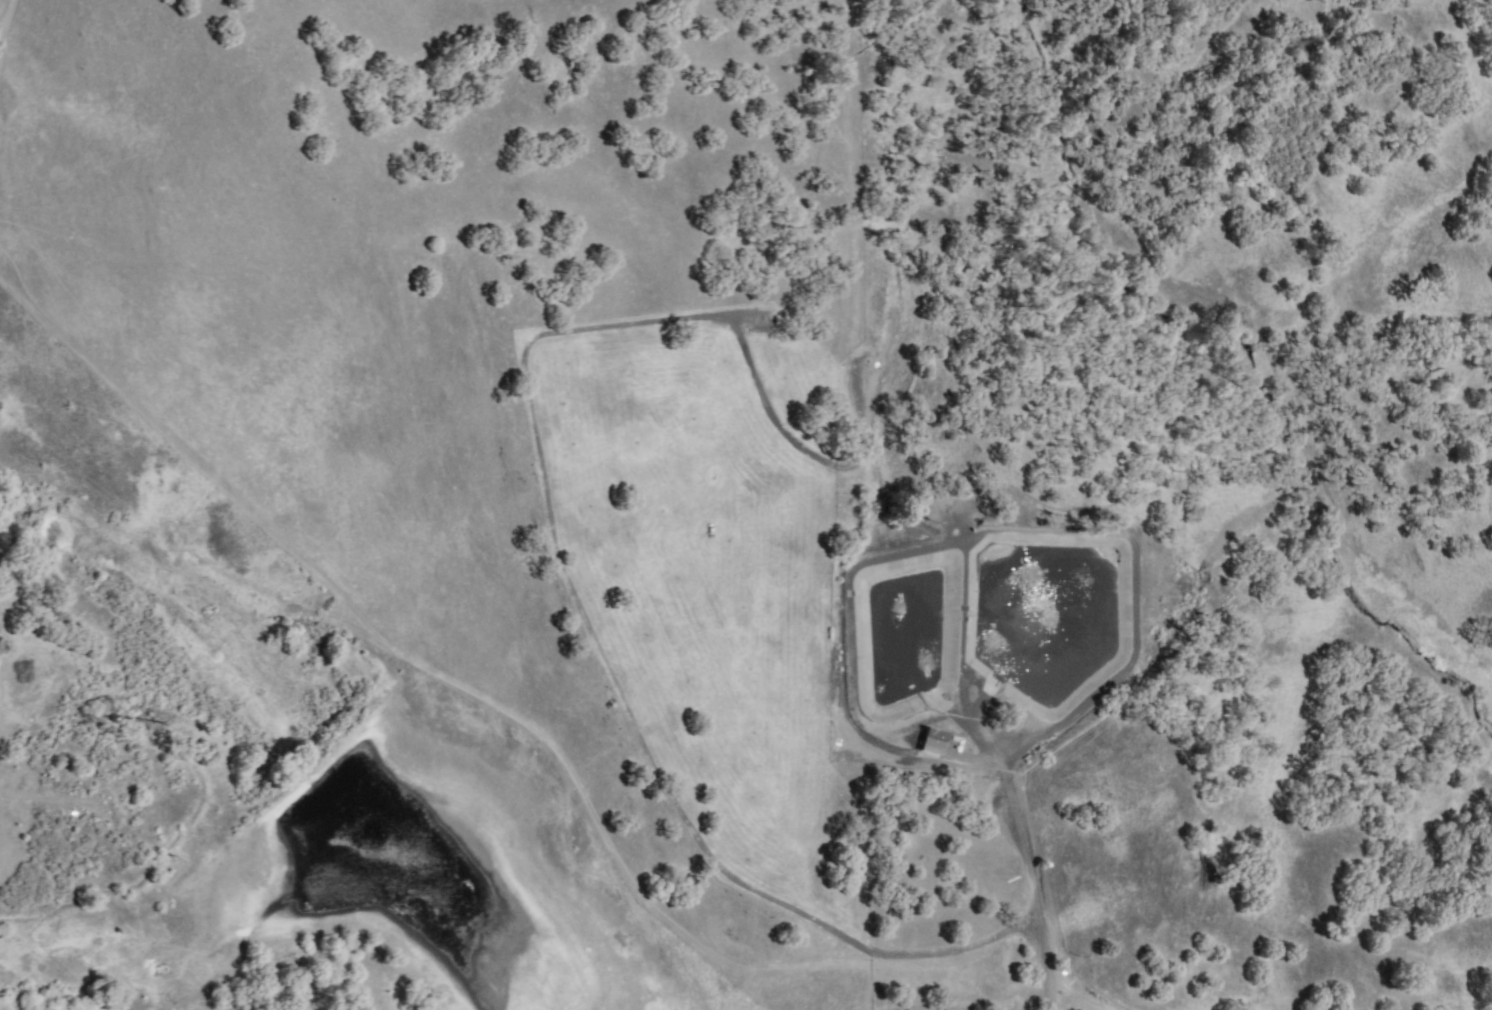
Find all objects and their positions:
building: (935, 740)
road: (1030, 882)

